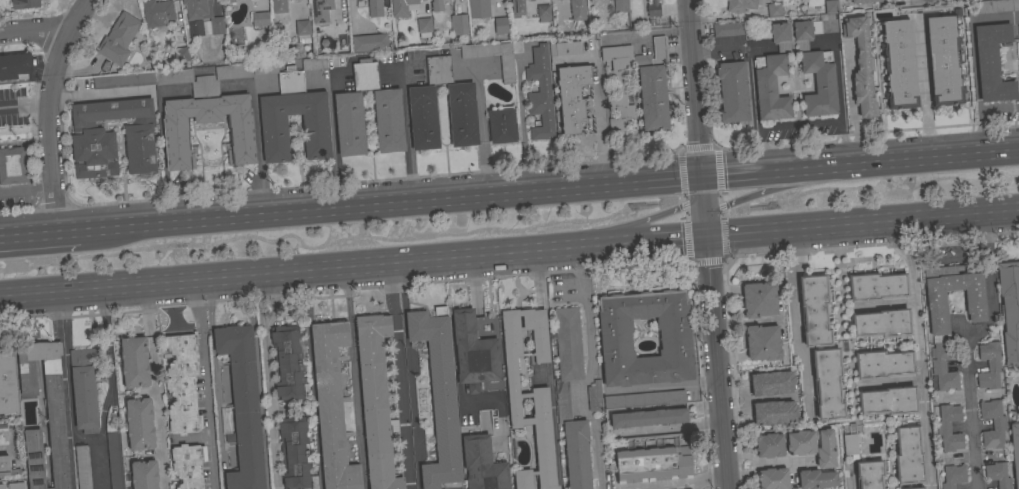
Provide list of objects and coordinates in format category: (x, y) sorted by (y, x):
building: (234, 0)
building: (557, 0)
road: (922, 0)
building: (229, 1)
building: (863, 1)
building: (25, 4)
building: (437, 5)
building: (742, 5)
building: (278, 6)
building: (620, 6)
building: (992, 6)
building: (373, 7)
building: (401, 7)
building: (517, 7)
building: (197, 9)
building: (479, 9)
building: (653, 9)
building: (320, 10)
building: (578, 10)
building: (774, 10)
building: (543, 12)
building: (156, 13)
building: (259, 19)
building: (216, 25)
building: (458, 25)
building: (1018, 25)
building: (500, 26)
building: (424, 27)
building: (196, 28)
road: (33, 29)
building: (728, 29)
building: (302, 31)
building: (118, 35)
building: (369, 43)
building: (564, 48)
building: (181, 55)
building: (944, 60)
building: (818, 62)
building: (992, 63)
building: (899, 64)
building: (14, 66)
building: (861, 66)
building: (264, 68)
building: (507, 71)
building: (771, 72)
building: (365, 75)
building: (1018, 76)
building: (204, 78)
building: (122, 80)
building: (618, 86)
building: (653, 86)
road: (695, 89)
road: (924, 91)
building: (733, 92)
building: (540, 93)
building: (572, 96)
building: (292, 105)
road: (839, 105)
road: (23, 106)
road: (999, 109)
road: (47, 110)
road: (598, 113)
building: (462, 116)
road: (520, 119)
building: (388, 121)
building: (349, 124)
building: (501, 125)
road: (406, 133)
road: (982, 135)
building: (112, 138)
building: (175, 138)
road: (334, 140)
road: (258, 148)
road: (162, 156)
building: (13, 165)
road: (860, 168)
traffic signals: (701, 179)
road: (748, 197)
road: (389, 204)
road: (703, 212)
road: (635, 223)
road: (862, 230)
road: (38, 231)
traffic signals: (706, 245)
road: (939, 257)
road: (352, 270)
building: (876, 287)
building: (974, 299)
building: (759, 300)
road: (209, 305)
building: (814, 310)
building: (1009, 310)
road: (795, 317)
building: (882, 324)
building: (675, 340)
building: (763, 343)
road: (966, 348)
building: (473, 352)
road: (918, 353)
building: (134, 362)
building: (288, 363)
building: (882, 364)
road: (716, 366)
road: (587, 370)
building: (944, 372)
road: (548, 373)
building: (990, 374)
road: (408, 377)
road: (354, 380)
building: (7, 382)
building: (770, 383)
building: (827, 384)
building: (181, 385)
road: (204, 385)
road: (664, 386)
building: (84, 388)
road: (154, 388)
road: (109, 389)
road: (65, 390)
building: (529, 394)
building: (438, 396)
building: (594, 396)
building: (644, 399)
building: (563, 400)
building: (376, 401)
building: (888, 401)
building: (243, 406)
building: (331, 406)
road: (216, 408)
building: (773, 412)
building: (55, 413)
building: (647, 418)
building: (139, 424)
building: (997, 425)
road: (671, 428)
building: (949, 428)
building: (3, 435)
building: (769, 445)
building: (850, 445)
building: (813, 446)
road: (4, 449)
building: (1015, 451)
building: (294, 452)
building: (908, 456)
building: (114, 460)
road: (780, 462)
building: (482, 464)
road: (753, 464)
building: (188, 465)
building: (653, 465)
building: (7, 467)
building: (82, 467)
building: (869, 474)
building: (996, 474)
building: (143, 475)
building: (954, 476)
building: (773, 478)
building: (817, 479)
road: (849, 481)
road: (677, 483)
building: (15, 485)
building: (913, 487)

